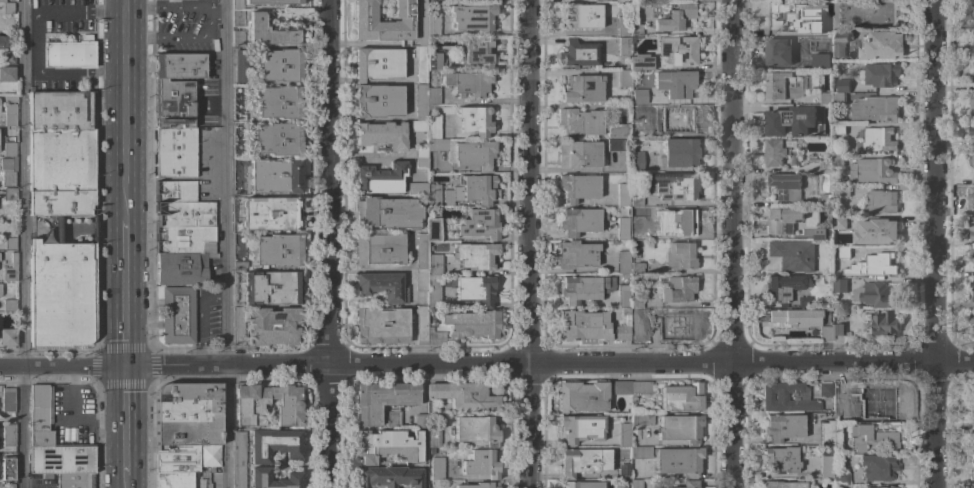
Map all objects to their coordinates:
building: (475, 0)
building: (620, 0)
building: (826, 0)
building: (2, 1)
building: (618, 1)
building: (272, 2)
road: (211, 4)
building: (238, 4)
building: (7, 8)
road: (168, 8)
road: (218, 8)
building: (971, 10)
building: (580, 16)
building: (795, 16)
building: (471, 17)
building: (675, 17)
building: (238, 18)
building: (364, 19)
building: (421, 22)
building: (432, 25)
building: (622, 26)
building: (635, 30)
building: (270, 31)
road: (181, 38)
building: (238, 38)
building: (972, 39)
road: (36, 40)
building: (3, 41)
building: (841, 42)
building: (879, 45)
building: (621, 46)
building: (678, 51)
building: (780, 51)
building: (70, 53)
building: (477, 53)
building: (578, 53)
building: (7, 57)
building: (434, 60)
building: (826, 61)
building: (640, 62)
building: (377, 64)
building: (420, 64)
building: (279, 65)
building: (179, 66)
building: (241, 66)
building: (972, 67)
building: (6, 73)
building: (879, 74)
building: (623, 78)
road: (397, 79)
road: (343, 81)
road: (358, 81)
building: (677, 81)
building: (468, 83)
building: (785, 84)
building: (843, 84)
building: (582, 89)
building: (433, 96)
building: (637, 96)
building: (832, 97)
building: (649, 98)
building: (972, 100)
building: (376, 101)
building: (420, 102)
building: (268, 103)
building: (174, 104)
road: (125, 105)
building: (875, 108)
building: (9, 114)
road: (383, 118)
building: (677, 118)
building: (791, 119)
building: (474, 120)
building: (580, 122)
building: (418, 126)
building: (433, 126)
building: (840, 128)
building: (617, 130)
building: (972, 130)
building: (635, 132)
building: (382, 134)
building: (878, 138)
building: (269, 139)
building: (437, 145)
building: (618, 145)
building: (7, 148)
building: (174, 152)
building: (680, 152)
building: (782, 152)
building: (61, 154)
building: (579, 154)
building: (475, 155)
road: (369, 156)
building: (421, 156)
building: (839, 159)
building: (972, 160)
building: (636, 161)
building: (825, 165)
building: (873, 170)
building: (8, 171)
building: (266, 176)
building: (381, 179)
building: (786, 185)
building: (674, 186)
building: (578, 187)
building: (417, 188)
building: (476, 188)
building: (842, 190)
building: (9, 194)
building: (623, 194)
building: (433, 195)
building: (972, 198)
building: (827, 199)
building: (636, 200)
building: (881, 201)
building: (386, 213)
building: (266, 214)
building: (182, 219)
building: (783, 219)
building: (581, 220)
building: (840, 222)
building: (479, 223)
building: (681, 223)
building: (636, 224)
building: (59, 228)
building: (622, 228)
building: (972, 228)
building: (433, 230)
building: (878, 231)
building: (827, 233)
building: (9, 243)
road: (227, 243)
road: (329, 243)
road: (23, 244)
road: (529, 244)
road: (731, 244)
road: (935, 244)
building: (268, 249)
building: (377, 249)
building: (637, 250)
building: (421, 251)
building: (844, 251)
building: (578, 254)
building: (793, 254)
building: (972, 254)
building: (475, 255)
building: (679, 256)
building: (623, 261)
building: (435, 264)
building: (874, 264)
building: (180, 268)
building: (636, 268)
building: (11, 269)
building: (973, 269)
building: (826, 278)
building: (421, 280)
building: (840, 284)
building: (382, 286)
building: (972, 286)
building: (266, 287)
building: (785, 287)
road: (124, 288)
building: (474, 289)
building: (677, 289)
building: (594, 290)
building: (61, 293)
building: (874, 293)
building: (433, 295)
building: (636, 302)
building: (804, 302)
building: (9, 305)
building: (637, 311)
building: (795, 318)
building: (972, 319)
building: (178, 320)
road: (202, 320)
building: (672, 323)
building: (884, 323)
building: (381, 325)
building: (421, 325)
building: (238, 326)
building: (275, 326)
building: (464, 326)
building: (592, 326)
building: (839, 329)
building: (826, 330)
building: (7, 337)
road: (486, 362)
traffic signals: (124, 366)
building: (620, 388)
building: (642, 388)
building: (824, 389)
building: (464, 395)
building: (582, 397)
building: (681, 397)
building: (775, 398)
building: (8, 399)
building: (383, 402)
building: (972, 403)
building: (839, 404)
building: (267, 405)
building: (873, 406)
road: (78, 414)
building: (187, 414)
building: (40, 415)
building: (0, 418)
building: (641, 419)
building: (421, 421)
road: (124, 422)
building: (782, 427)
building: (581, 428)
building: (679, 428)
building: (476, 430)
building: (825, 433)
building: (8, 434)
building: (623, 434)
building: (433, 435)
building: (867, 436)
building: (972, 443)
building: (274, 444)
building: (388, 446)
building: (641, 452)
building: (186, 458)
building: (780, 459)
building: (61, 460)
building: (238, 460)
building: (583, 461)
building: (678, 461)
building: (972, 461)
building: (825, 462)
building: (481, 464)
building: (878, 467)
building: (436, 469)
building: (9, 471)
building: (623, 473)
building: (259, 475)
building: (387, 477)
building: (841, 478)
building: (174, 480)
building: (75, 481)
road: (124, 483)
building: (690, 483)
building: (583, 484)
building: (636, 484)
building: (782, 484)
building: (7, 485)
building: (480, 485)
building: (620, 485)
road: (611, 487)
building: (880, 487)

